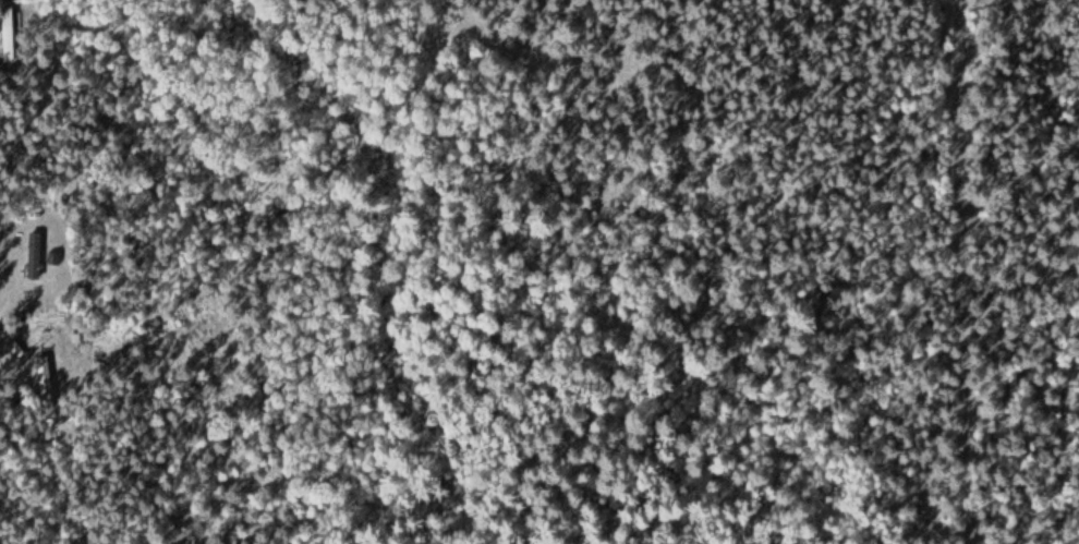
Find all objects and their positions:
building: (8, 34)
building: (33, 256)
road: (46, 479)

